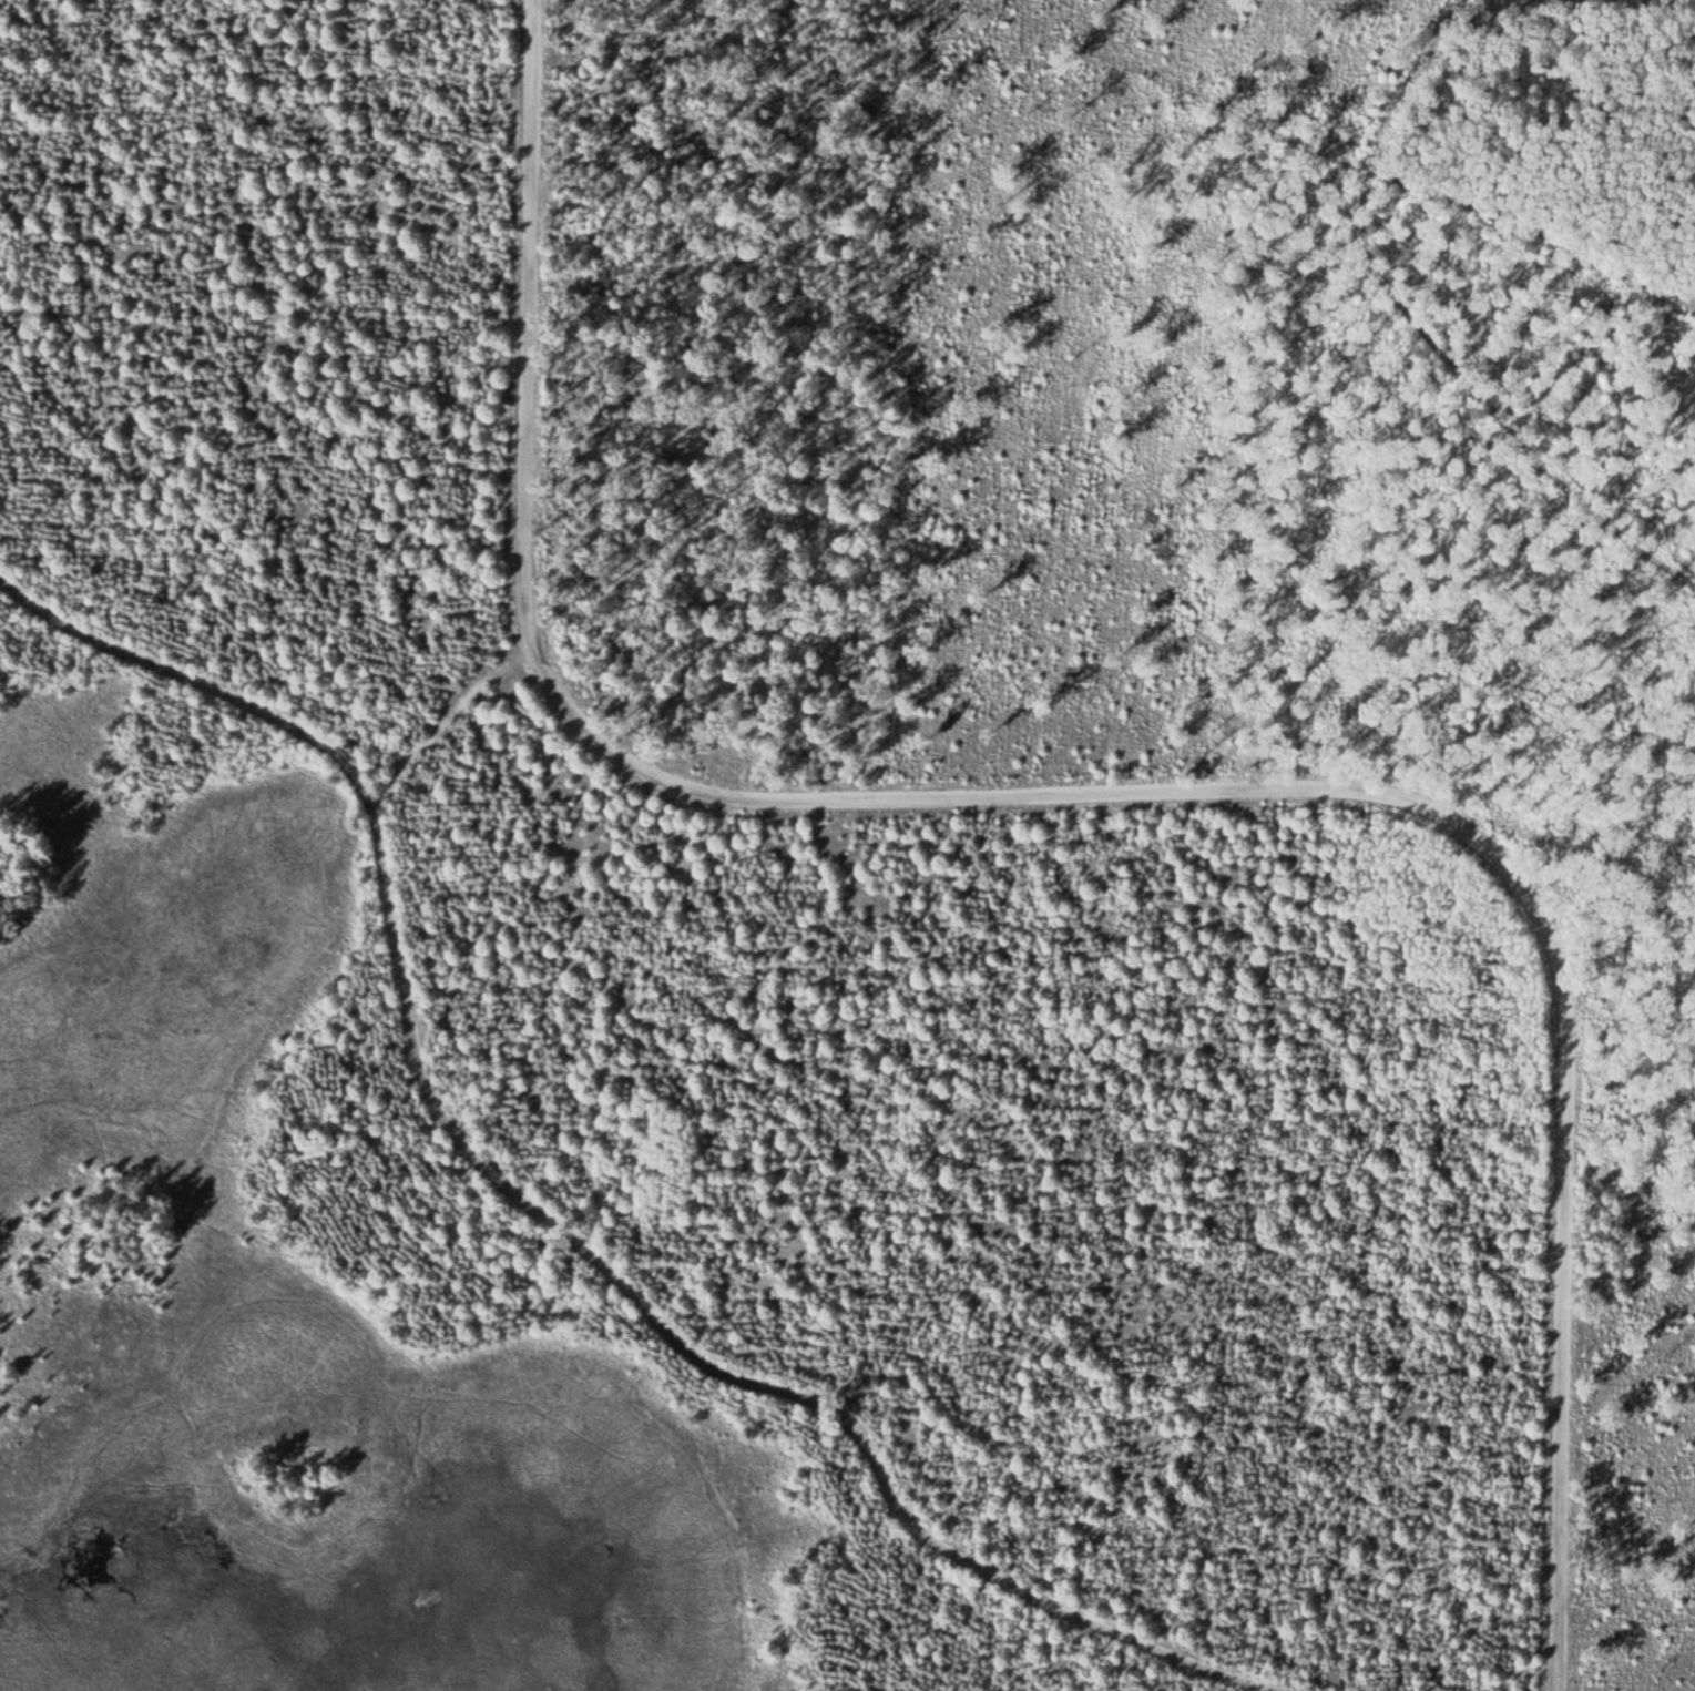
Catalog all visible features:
road: (1170, 83)
road: (1528, 233)
road: (1434, 325)
road: (449, 726)
road: (1104, 783)
road: (538, 1211)

